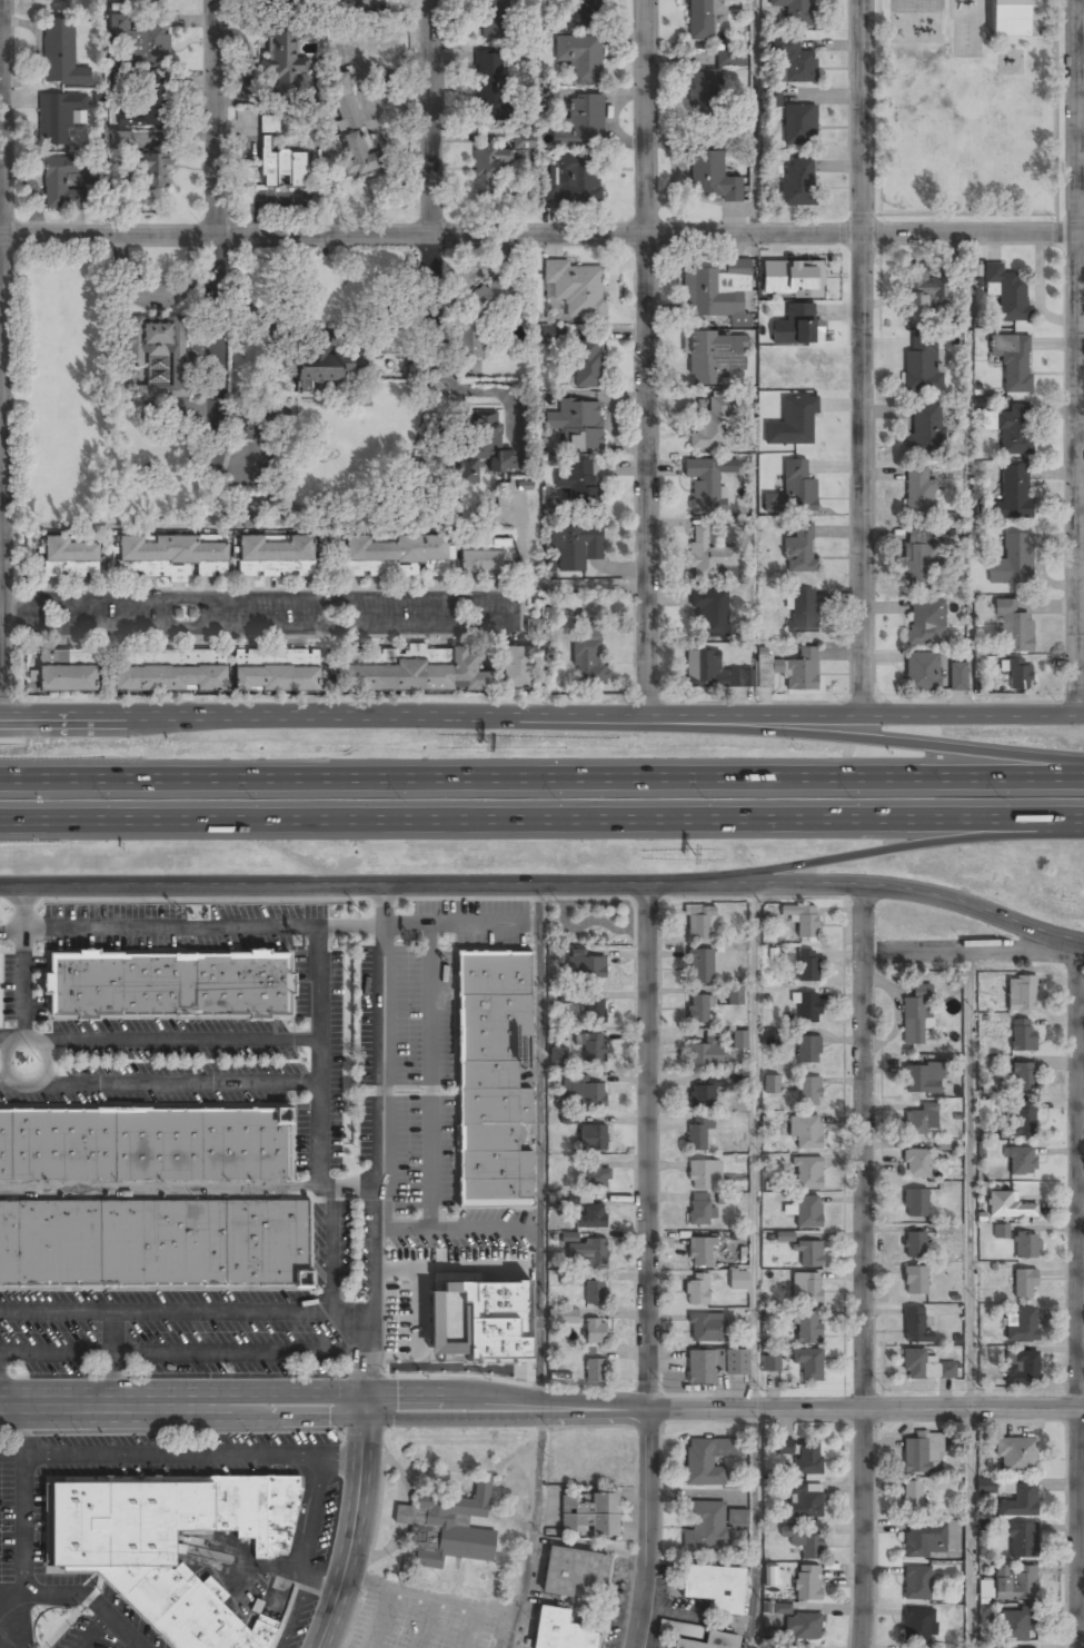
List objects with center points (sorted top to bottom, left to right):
building: (58, 0)
building: (153, 1)
building: (280, 3)
building: (365, 3)
building: (794, 11)
building: (586, 13)
building: (494, 18)
building: (1007, 18)
building: (702, 19)
building: (147, 43)
building: (61, 54)
building: (579, 57)
building: (281, 58)
building: (729, 58)
building: (792, 60)
building: (489, 82)
building: (705, 93)
building: (549, 98)
building: (772, 98)
building: (145, 107)
building: (57, 117)
road: (216, 118)
road: (430, 118)
road: (750, 118)
building: (580, 121)
building: (269, 123)
building: (350, 123)
building: (798, 125)
building: (121, 139)
building: (499, 161)
building: (281, 167)
building: (152, 169)
building: (713, 177)
building: (64, 181)
building: (570, 181)
building: (797, 183)
road: (541, 236)
building: (793, 278)
building: (576, 289)
building: (718, 292)
building: (925, 292)
building: (1006, 292)
building: (479, 315)
road: (430, 319)
building: (797, 326)
building: (553, 332)
building: (156, 344)
road: (217, 346)
building: (714, 356)
road: (645, 357)
road: (861, 357)
road: (1076, 357)
road: (1, 358)
building: (1013, 360)
building: (586, 364)
building: (321, 366)
building: (921, 366)
building: (799, 421)
building: (577, 425)
building: (243, 426)
building: (709, 427)
building: (924, 428)
building: (1014, 429)
building: (480, 445)
building: (577, 485)
building: (704, 485)
building: (798, 487)
building: (918, 493)
building: (1012, 493)
building: (575, 548)
building: (799, 549)
building: (276, 556)
building: (396, 556)
building: (176, 557)
building: (708, 557)
building: (70, 558)
building: (916, 560)
building: (1012, 560)
building: (481, 563)
building: (800, 612)
building: (709, 615)
building: (925, 623)
building: (533, 625)
building: (1013, 626)
building: (398, 655)
building: (169, 657)
building: (588, 662)
building: (517, 669)
building: (802, 671)
building: (710, 672)
building: (921, 672)
building: (1017, 674)
building: (418, 675)
building: (957, 677)
building: (67, 679)
building: (168, 679)
building: (275, 679)
road: (541, 714)
road: (883, 739)
road: (541, 780)
road: (541, 822)
road: (896, 851)
road: (546, 884)
road: (23, 906)
building: (802, 920)
road: (461, 924)
building: (699, 924)
road: (191, 926)
road: (971, 953)
building: (585, 966)
building: (699, 966)
building: (806, 966)
building: (168, 985)
building: (1021, 994)
building: (566, 995)
building: (734, 997)
building: (807, 1007)
building: (698, 1009)
building: (594, 1012)
building: (916, 1014)
building: (1022, 1035)
building: (770, 1038)
building: (739, 1041)
building: (590, 1048)
building: (807, 1050)
building: (704, 1053)
building: (557, 1055)
parking lot: (439, 1072)
building: (490, 1076)
building: (1020, 1078)
building: (921, 1080)
building: (770, 1084)
building: (808, 1091)
building: (583, 1094)
building: (702, 1096)
building: (987, 1110)
building: (569, 1118)
building: (1023, 1119)
building: (921, 1120)
building: (697, 1133)
building: (806, 1133)
building: (593, 1138)
building: (146, 1144)
road: (382, 1145)
building: (945, 1145)
road: (539, 1146)
road: (757, 1148)
building: (1020, 1161)
building: (915, 1163)
building: (807, 1172)
building: (703, 1174)
building: (594, 1177)
building: (915, 1202)
building: (1006, 1205)
building: (698, 1210)
building: (807, 1212)
building: (590, 1218)
building: (1001, 1231)
building: (569, 1237)
building: (784, 1237)
building: (152, 1244)
building: (914, 1244)
building: (1026, 1247)
building: (585, 1252)
building: (699, 1253)
building: (807, 1253)
road: (647, 1265)
road: (864, 1265)
building: (568, 1278)
building: (738, 1281)
building: (915, 1281)
building: (1024, 1283)
building: (805, 1289)
building: (697, 1290)
building: (594, 1293)
road: (1077, 1294)
road: (969, 1301)
road: (187, 1312)
building: (563, 1316)
building: (1021, 1324)
building: (914, 1326)
building: (706, 1328)
building: (807, 1328)
building: (458, 1332)
building: (595, 1332)
road: (185, 1353)
road: (115, 1360)
building: (769, 1363)
building: (808, 1363)
building: (713, 1366)
building: (918, 1366)
building: (1021, 1368)
building: (593, 1371)
road: (541, 1409)
building: (785, 1446)
building: (918, 1453)
road: (180, 1455)
building: (1016, 1456)
building: (807, 1459)
building: (706, 1461)
building: (985, 1486)
building: (1005, 1486)
building: (912, 1497)
building: (1020, 1502)
building: (804, 1503)
building: (589, 1516)
road: (26, 1525)
building: (710, 1526)
building: (447, 1528)
road: (757, 1528)
road: (351, 1530)
building: (924, 1541)
building: (1022, 1541)
building: (803, 1542)
building: (170, 1547)
road: (310, 1552)
parking lot: (18, 1556)
road: (276, 1571)
building: (573, 1571)
building: (770, 1576)
building: (806, 1582)
building: (916, 1584)
building: (1014, 1584)
building: (714, 1588)
building: (985, 1588)
road: (84, 1594)
building: (782, 1608)
road: (1, 1617)
building: (917, 1625)
building: (1014, 1626)
building: (674, 1627)
building: (802, 1627)
road: (92, 1629)
building: (560, 1631)
building: (709, 1641)
road: (137, 1645)
building: (1031, 1647)

